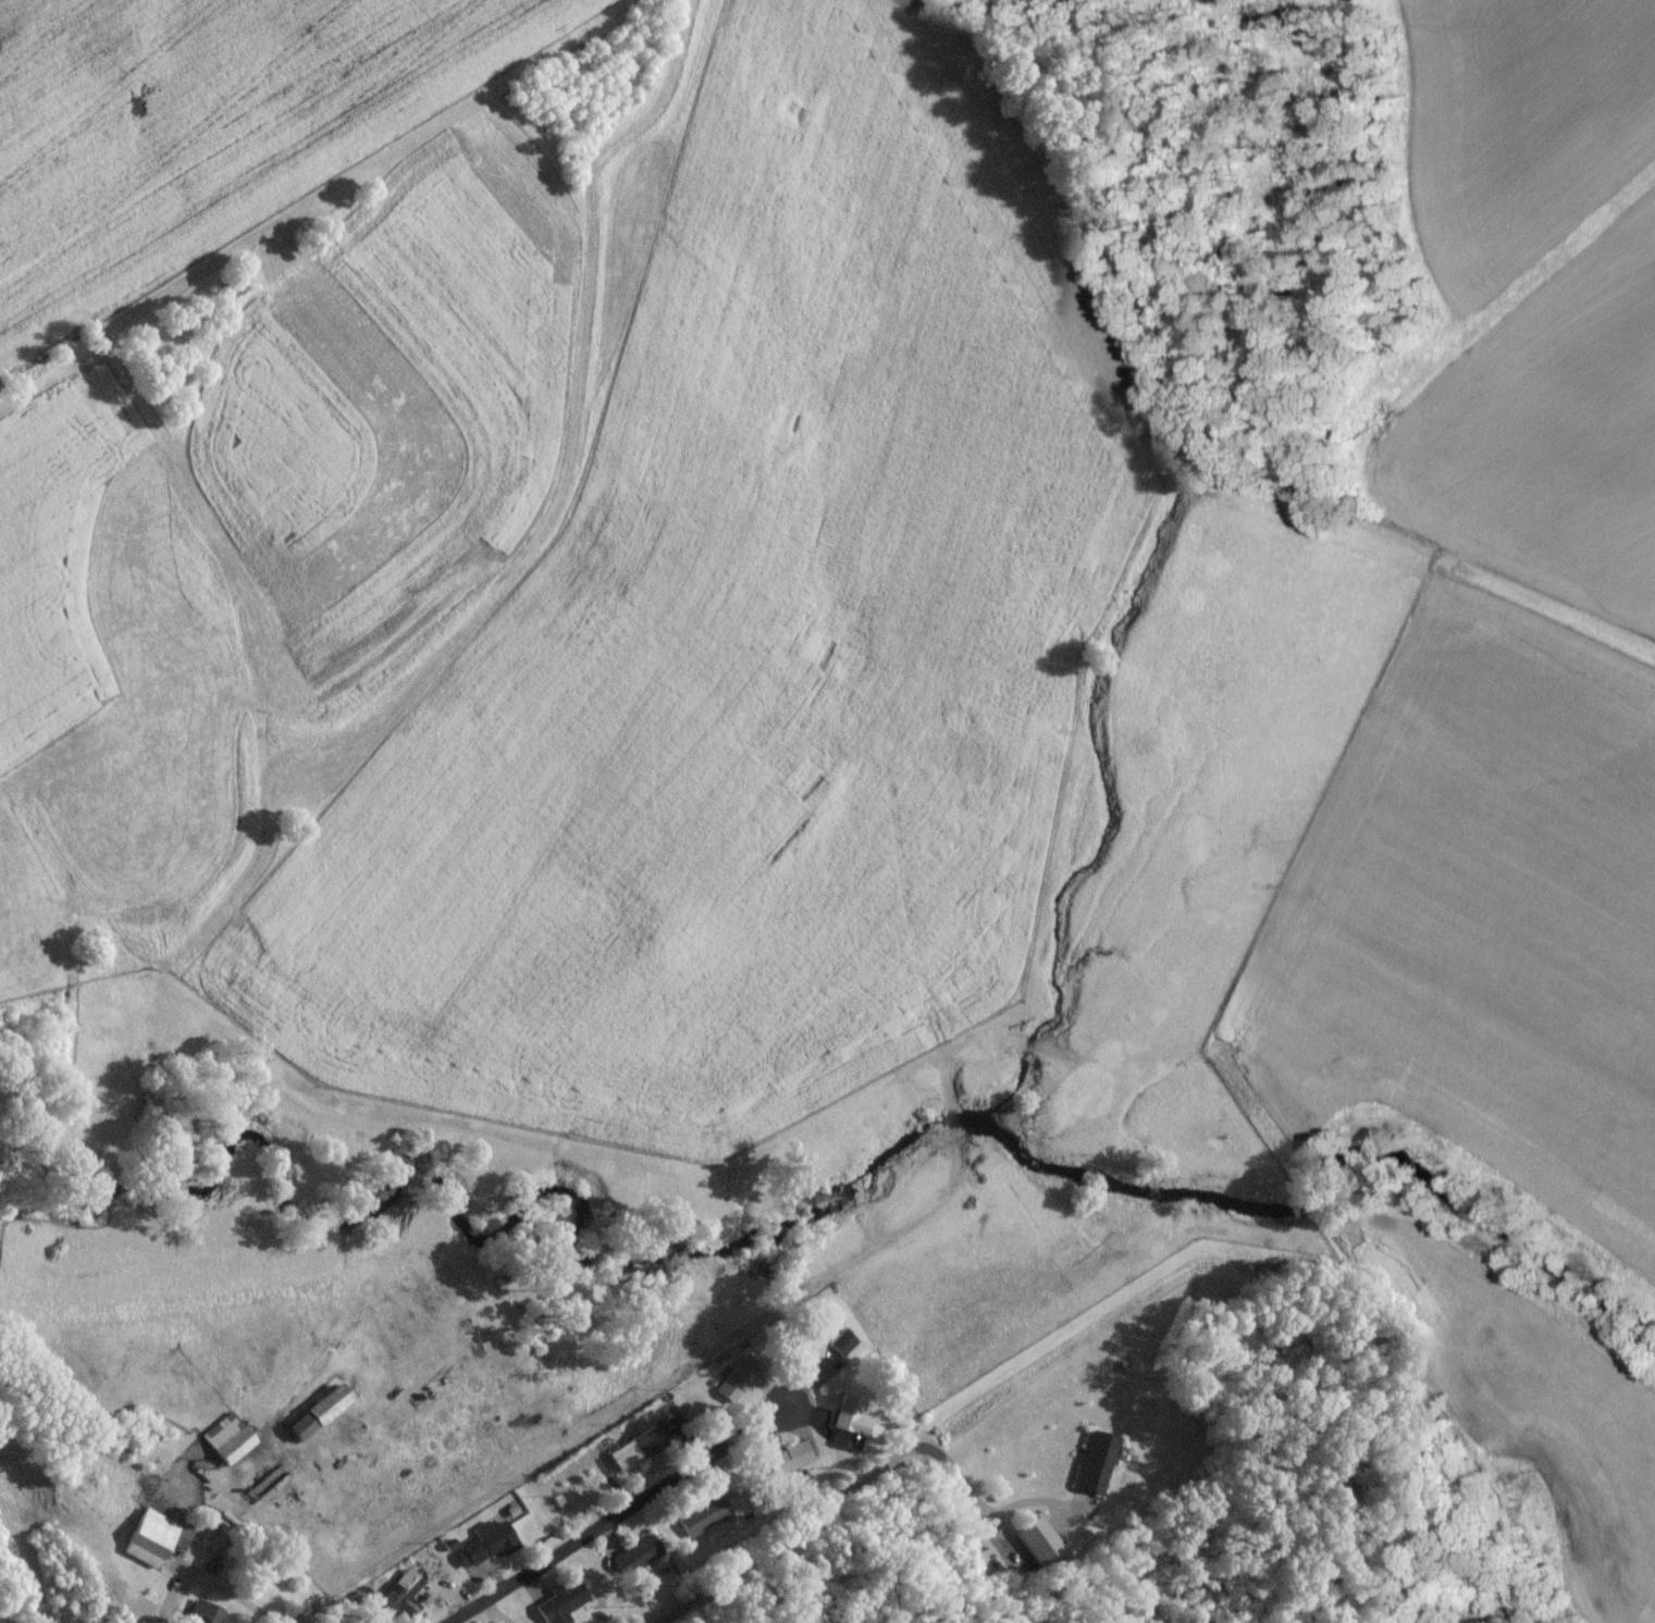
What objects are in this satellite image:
building: (802, 1350)
building: (313, 1420)
building: (848, 1423)
building: (225, 1446)
building: (633, 1455)
building: (794, 1460)
building: (1092, 1470)
road: (605, 1521)
building: (701, 1522)
road: (789, 1538)
building: (146, 1546)
building: (485, 1553)
building: (637, 1562)
road: (205, 1587)
building: (552, 1612)

